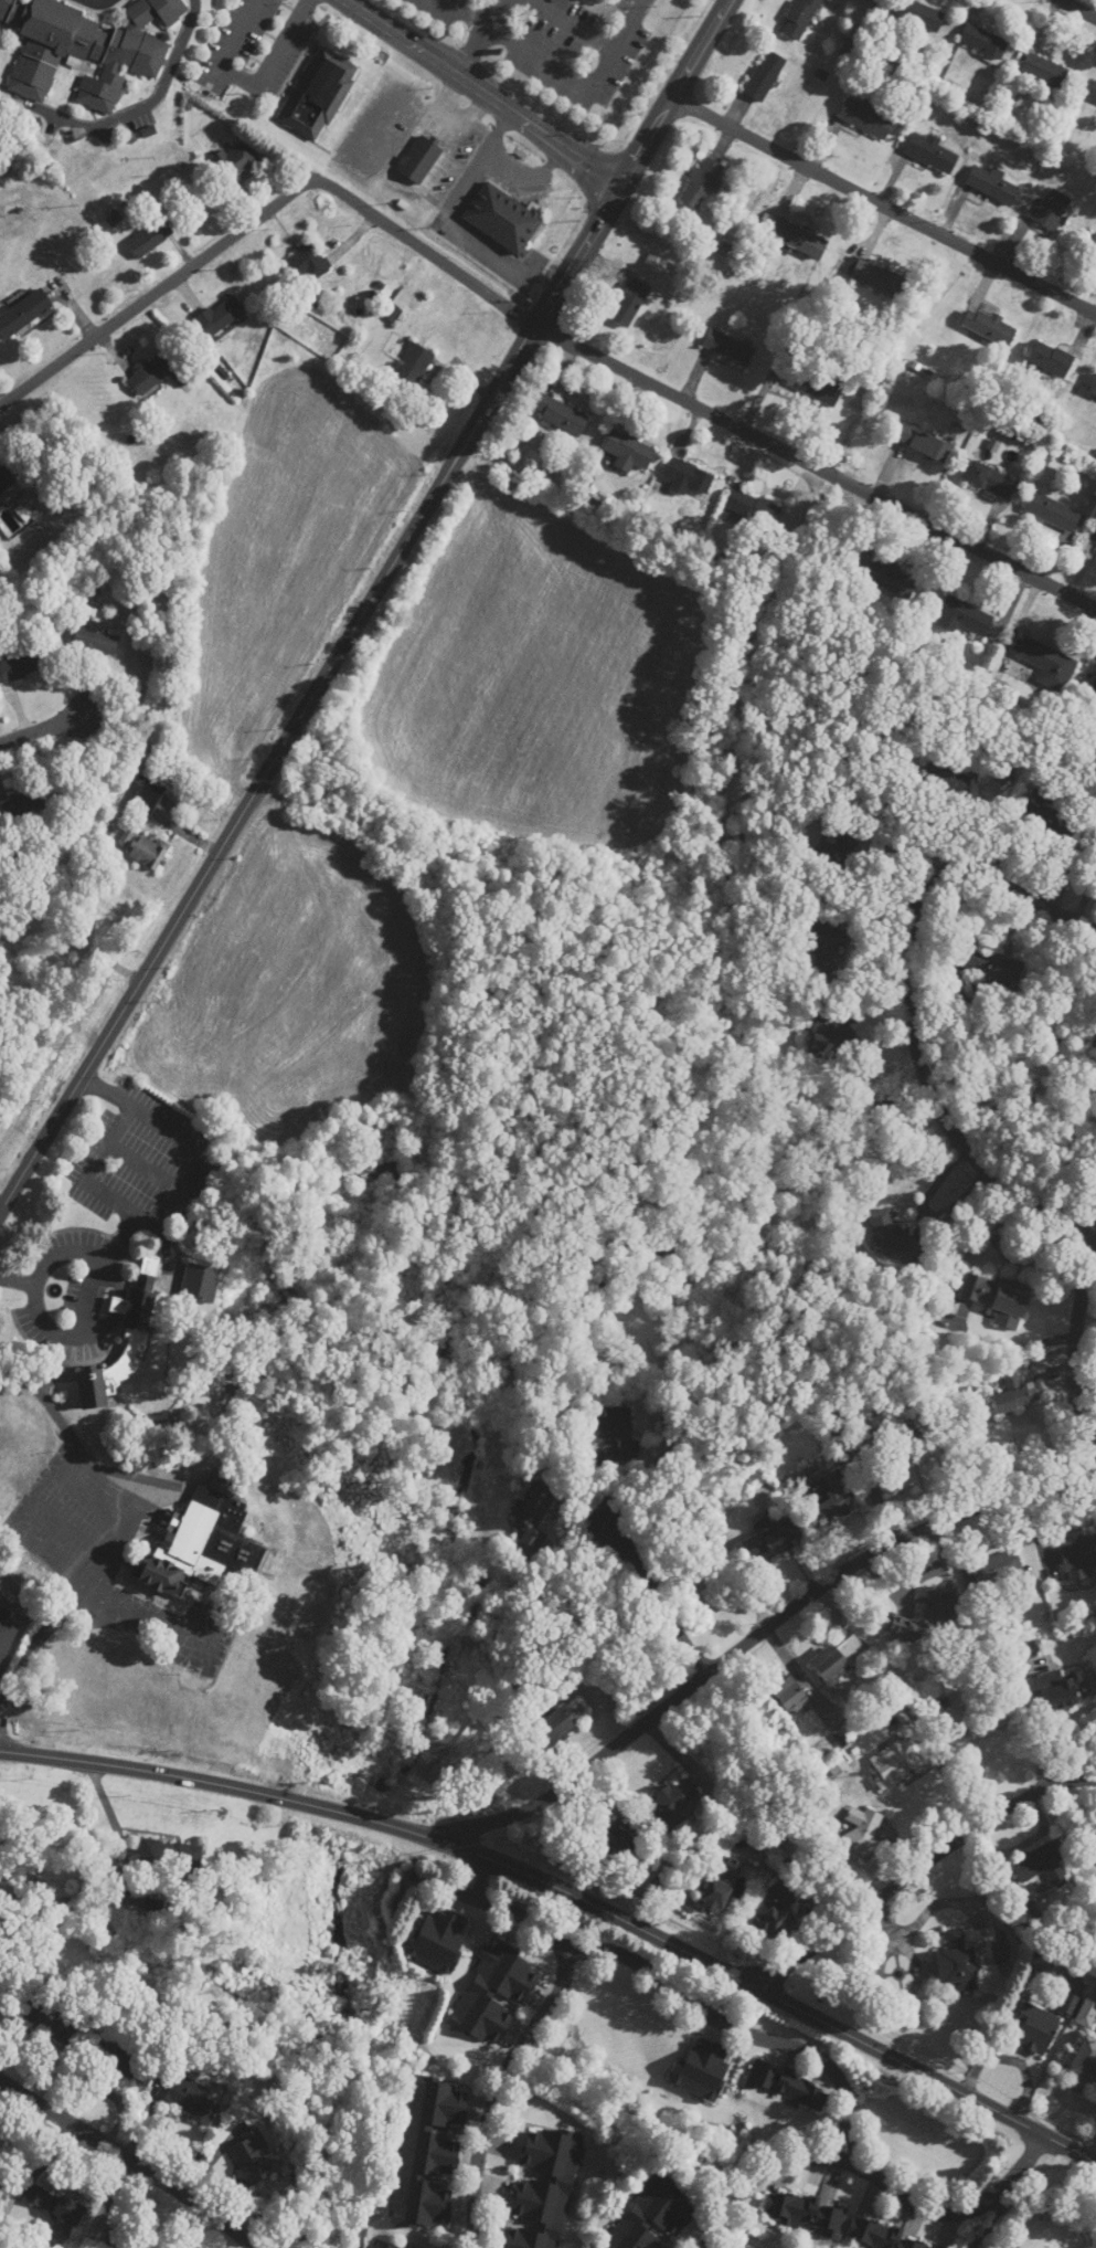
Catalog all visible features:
road: (97, 6)
road: (1072, 11)
road: (496, 13)
building: (918, 14)
building: (800, 18)
road: (577, 23)
road: (485, 30)
building: (983, 41)
building: (84, 42)
building: (1044, 71)
building: (765, 76)
road: (248, 81)
road: (581, 82)
building: (1093, 92)
road: (479, 93)
building: (318, 94)
building: (866, 118)
road: (500, 131)
building: (932, 152)
building: (419, 159)
building: (235, 162)
road: (528, 172)
building: (702, 183)
building: (992, 183)
road: (884, 205)
building: (1050, 209)
road: (268, 211)
building: (504, 218)
road: (470, 233)
building: (150, 238)
building: (799, 239)
building: (1093, 247)
building: (307, 262)
building: (875, 276)
building: (402, 299)
building: (629, 303)
building: (24, 313)
building: (221, 316)
building: (989, 327)
building: (728, 348)
building: (1051, 359)
building: (412, 368)
building: (151, 373)
building: (812, 386)
building: (1093, 388)
building: (560, 413)
building: (922, 442)
building: (629, 451)
road: (817, 471)
building: (687, 477)
building: (991, 479)
building: (4, 481)
building: (1053, 511)
building: (890, 578)
road: (368, 611)
building: (964, 616)
building: (95, 640)
building: (1047, 663)
building: (21, 665)
building: (1093, 687)
road: (46, 728)
building: (948, 782)
building: (148, 796)
building: (23, 804)
building: (1047, 816)
building: (146, 848)
building: (844, 849)
building: (105, 908)
building: (828, 939)
building: (990, 962)
road: (904, 1001)
building: (828, 1036)
road: (182, 1134)
road: (145, 1167)
building: (375, 1172)
road: (104, 1195)
road: (1, 1213)
building: (887, 1233)
road: (121, 1237)
road: (18, 1277)
building: (200, 1281)
road: (87, 1296)
building: (998, 1298)
building: (137, 1326)
road: (52, 1328)
road: (1071, 1358)
building: (1013, 1395)
building: (613, 1424)
building: (906, 1444)
road: (179, 1486)
building: (535, 1506)
building: (832, 1506)
road: (130, 1524)
building: (773, 1538)
building: (202, 1539)
building: (1079, 1556)
building: (992, 1566)
road: (652, 1592)
building: (941, 1616)
road: (756, 1634)
building: (7, 1636)
building: (840, 1658)
building: (1057, 1689)
building: (790, 1696)
building: (560, 1724)
building: (894, 1763)
road: (1089, 1771)
building: (672, 1801)
building: (856, 1834)
building: (619, 1841)
building: (1090, 1848)
building: (170, 1857)
building: (1042, 1862)
road: (922, 1866)
road: (473, 1875)
road: (440, 1886)
building: (721, 1887)
road: (568, 1893)
building: (776, 1912)
road: (526, 1918)
building: (439, 1939)
building: (966, 1957)
building: (494, 1995)
building: (1068, 2003)
building: (1087, 2012)
building: (50, 2018)
building: (1036, 2028)
road: (746, 2034)
building: (117, 2059)
building: (1085, 2060)
building: (703, 2067)
building: (788, 2085)
road: (500, 2091)
building: (188, 2098)
building: (429, 2153)
building: (255, 2156)
road: (131, 2160)
building: (3, 2170)
road: (877, 2177)
building: (544, 2187)
building: (56, 2204)
building: (806, 2213)
building: (655, 2216)
building: (881, 2237)
building: (124, 2240)
building: (385, 2247)

